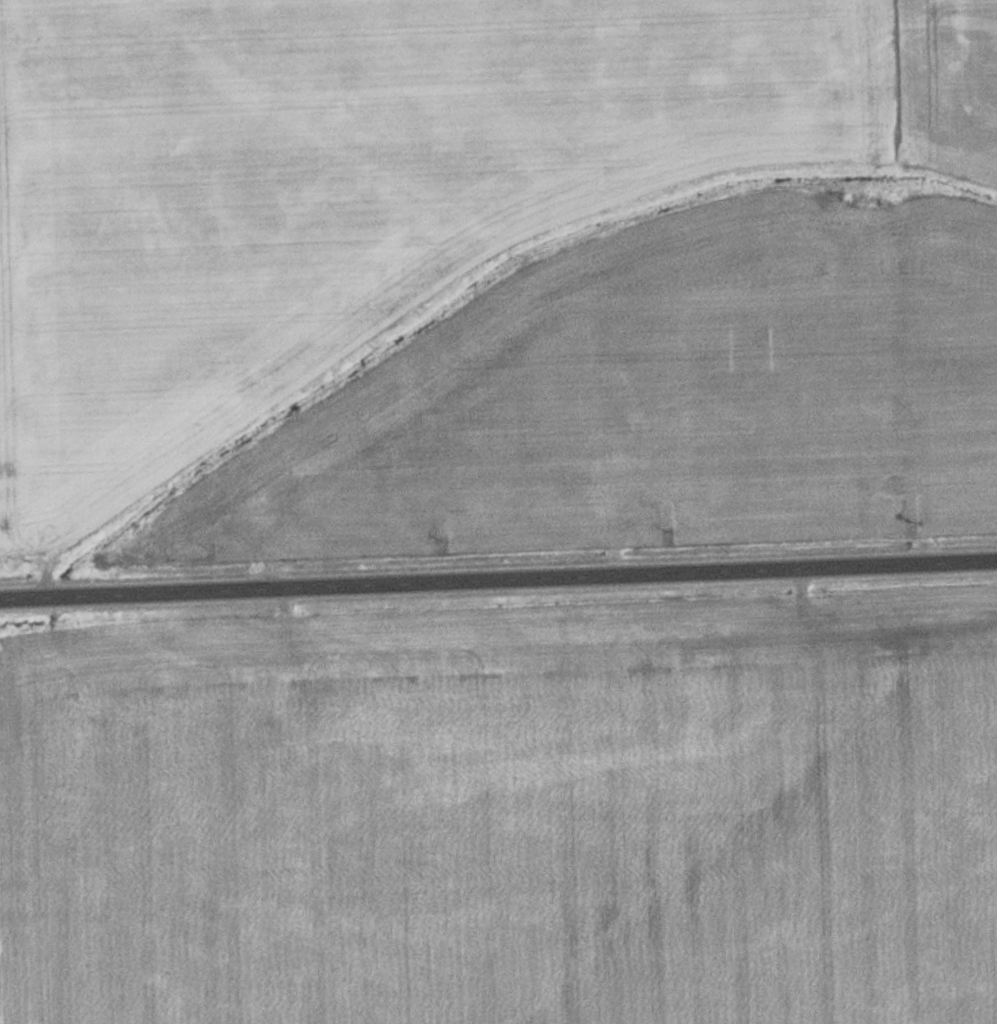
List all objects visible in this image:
road: (498, 578)

